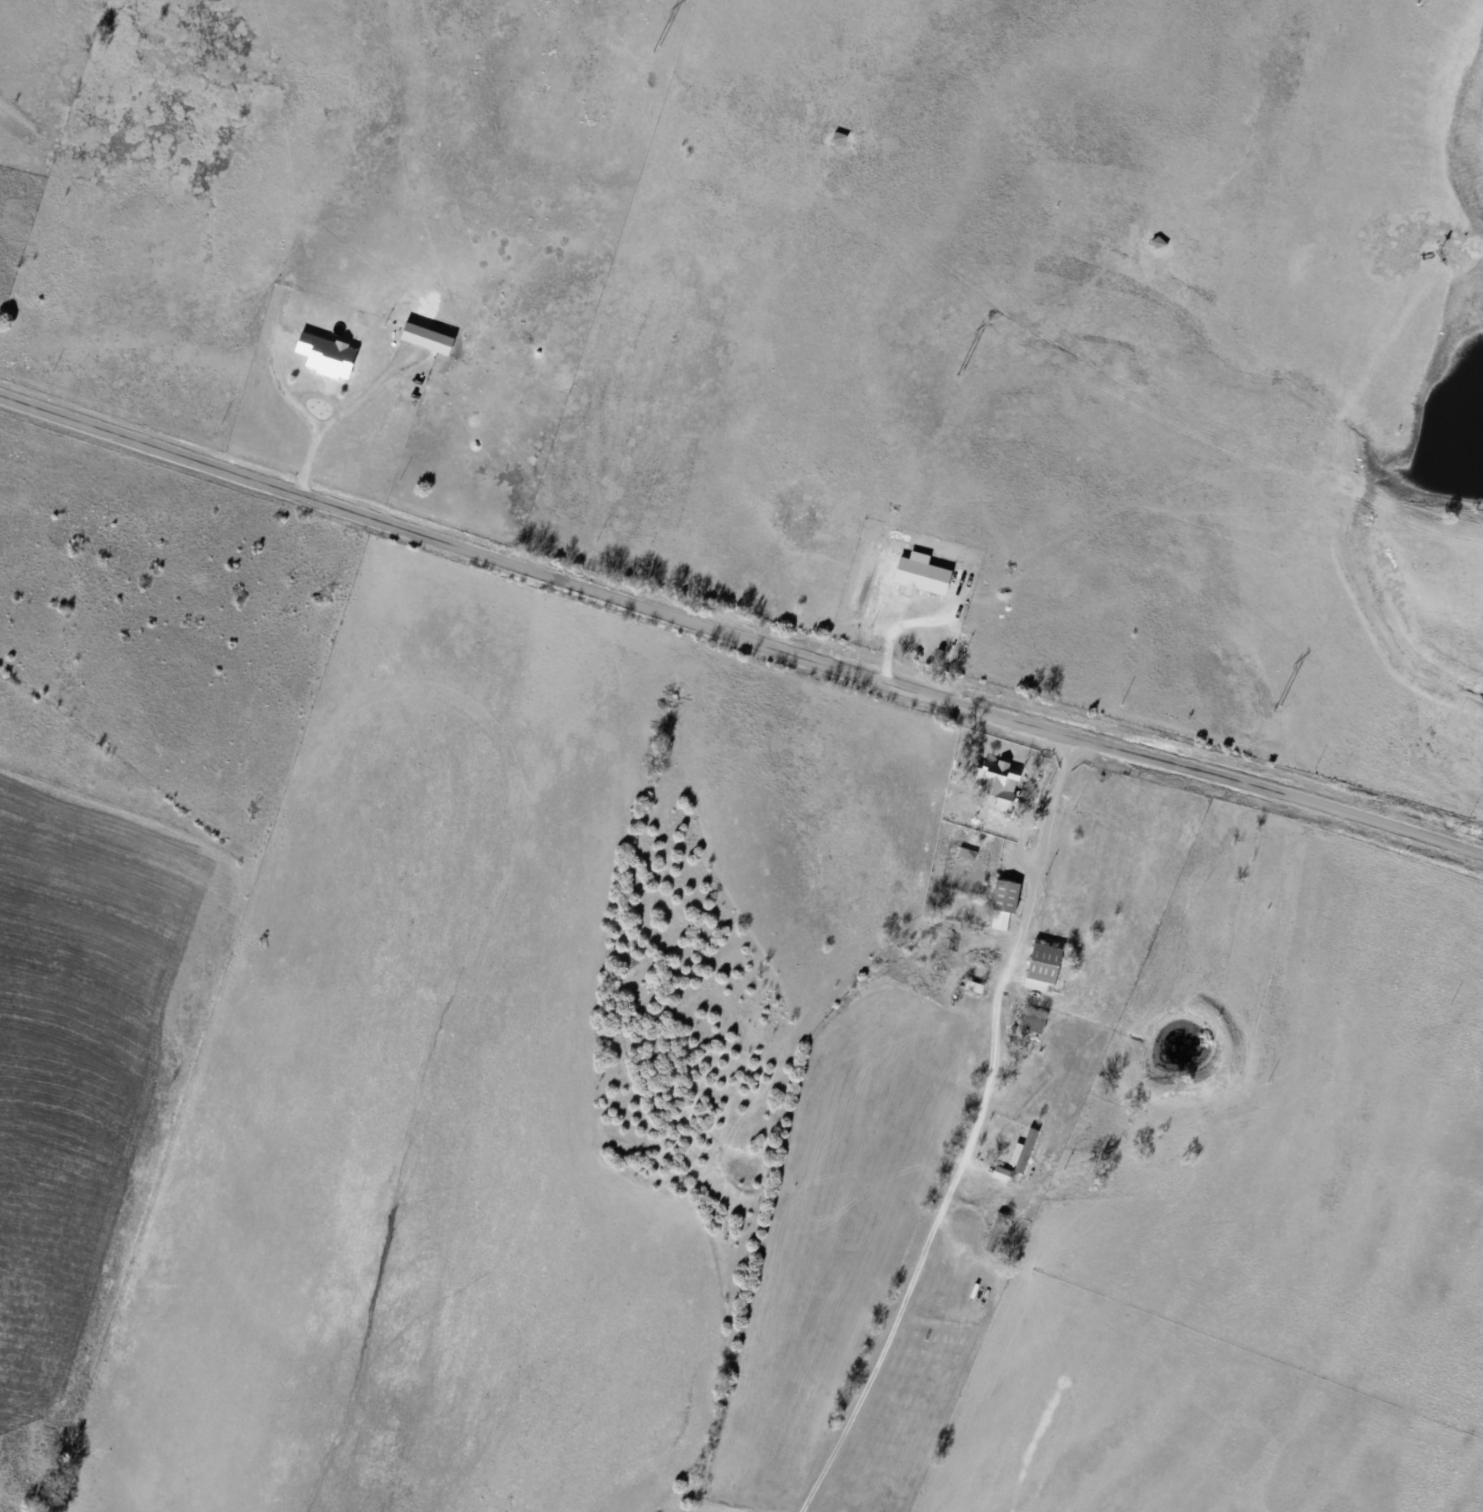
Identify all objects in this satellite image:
power tower: (1416, 3)
power tower: (655, 49)
building: (838, 137)
building: (1157, 242)
power tower: (960, 373)
road: (738, 632)
power tower: (1277, 709)
building: (995, 780)
building: (1004, 896)
building: (1043, 966)
building: (973, 986)
building: (1033, 1021)
road: (966, 1129)
building: (1023, 1152)
building: (995, 1231)

